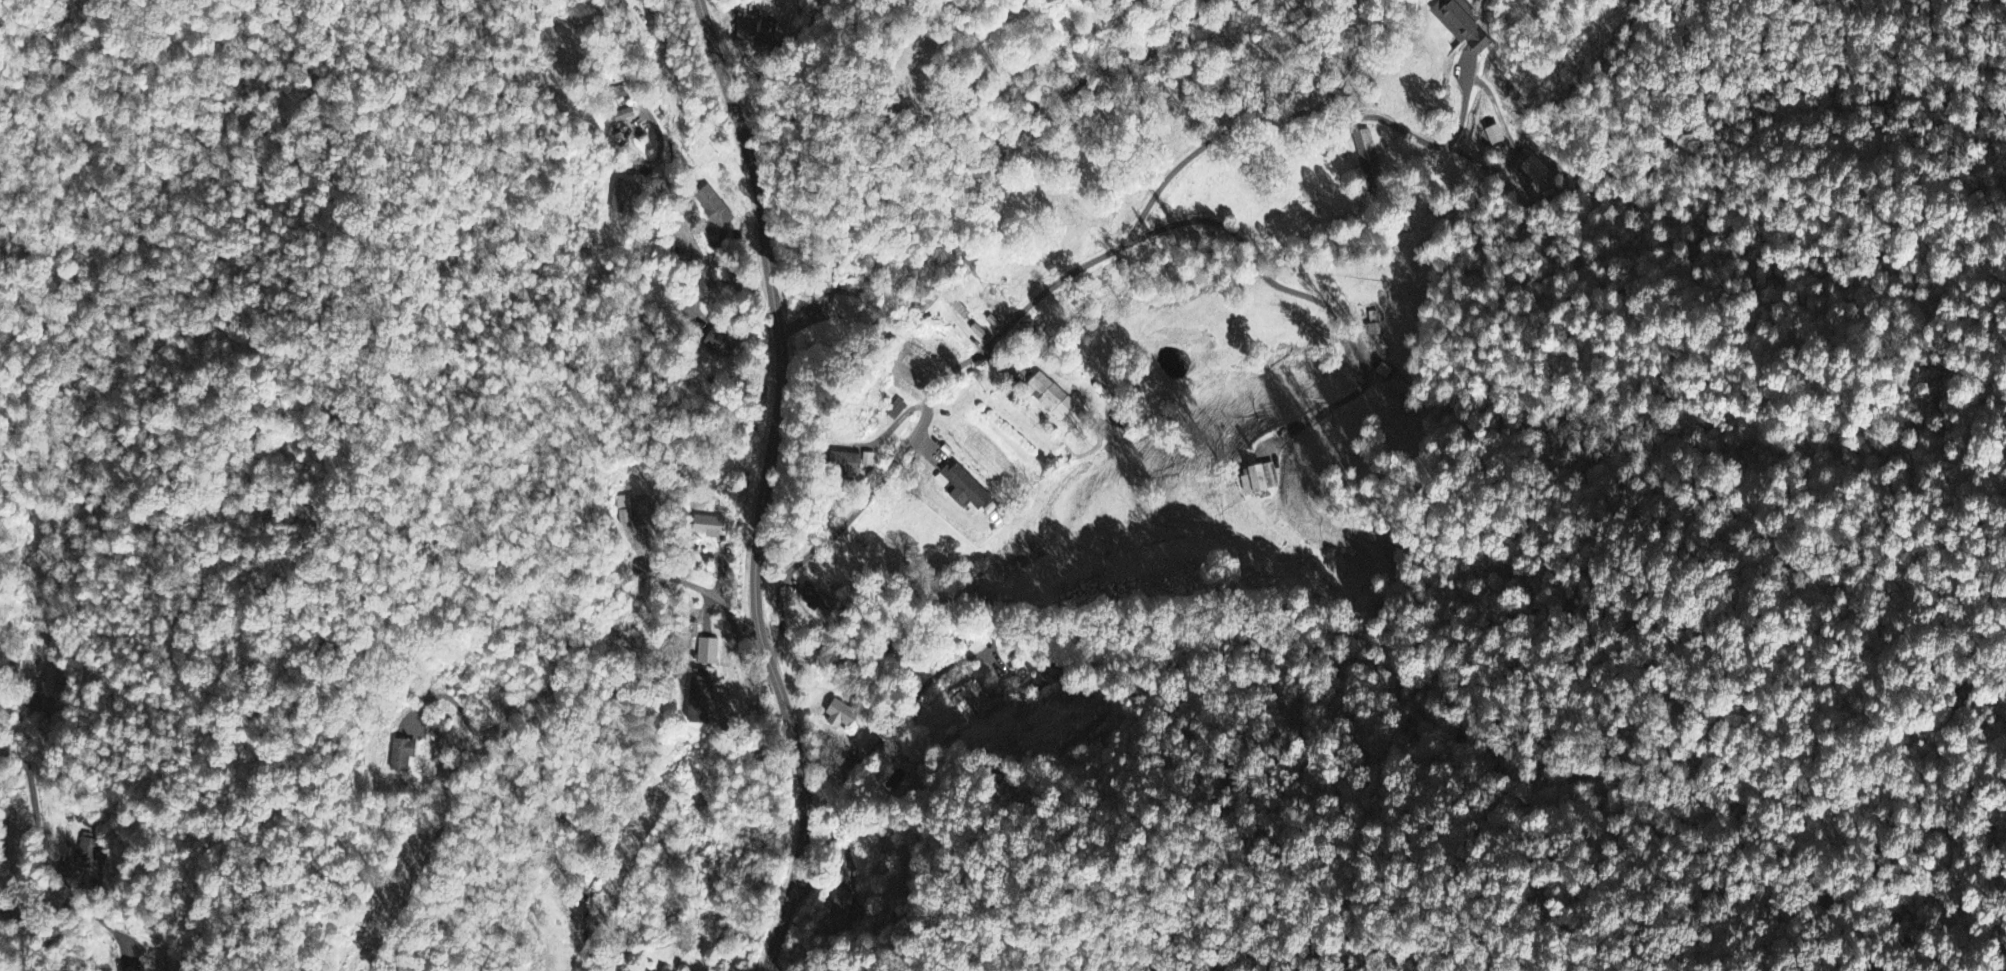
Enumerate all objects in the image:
building: (1452, 22)
building: (756, 35)
road: (1307, 111)
building: (1497, 137)
building: (1367, 157)
building: (1532, 173)
road: (663, 182)
building: (714, 208)
road: (1315, 297)
building: (852, 308)
building: (993, 319)
building: (978, 329)
building: (721, 345)
building: (1057, 398)
road: (920, 425)
building: (952, 451)
building: (858, 462)
building: (1262, 476)
road: (763, 485)
building: (972, 489)
building: (636, 506)
building: (711, 527)
building: (817, 598)
road: (589, 614)
building: (708, 652)
building: (52, 683)
building: (701, 697)
building: (972, 699)
building: (841, 716)
road: (868, 754)
building: (403, 755)
road: (34, 794)
building: (87, 855)
building: (841, 906)
building: (854, 913)

